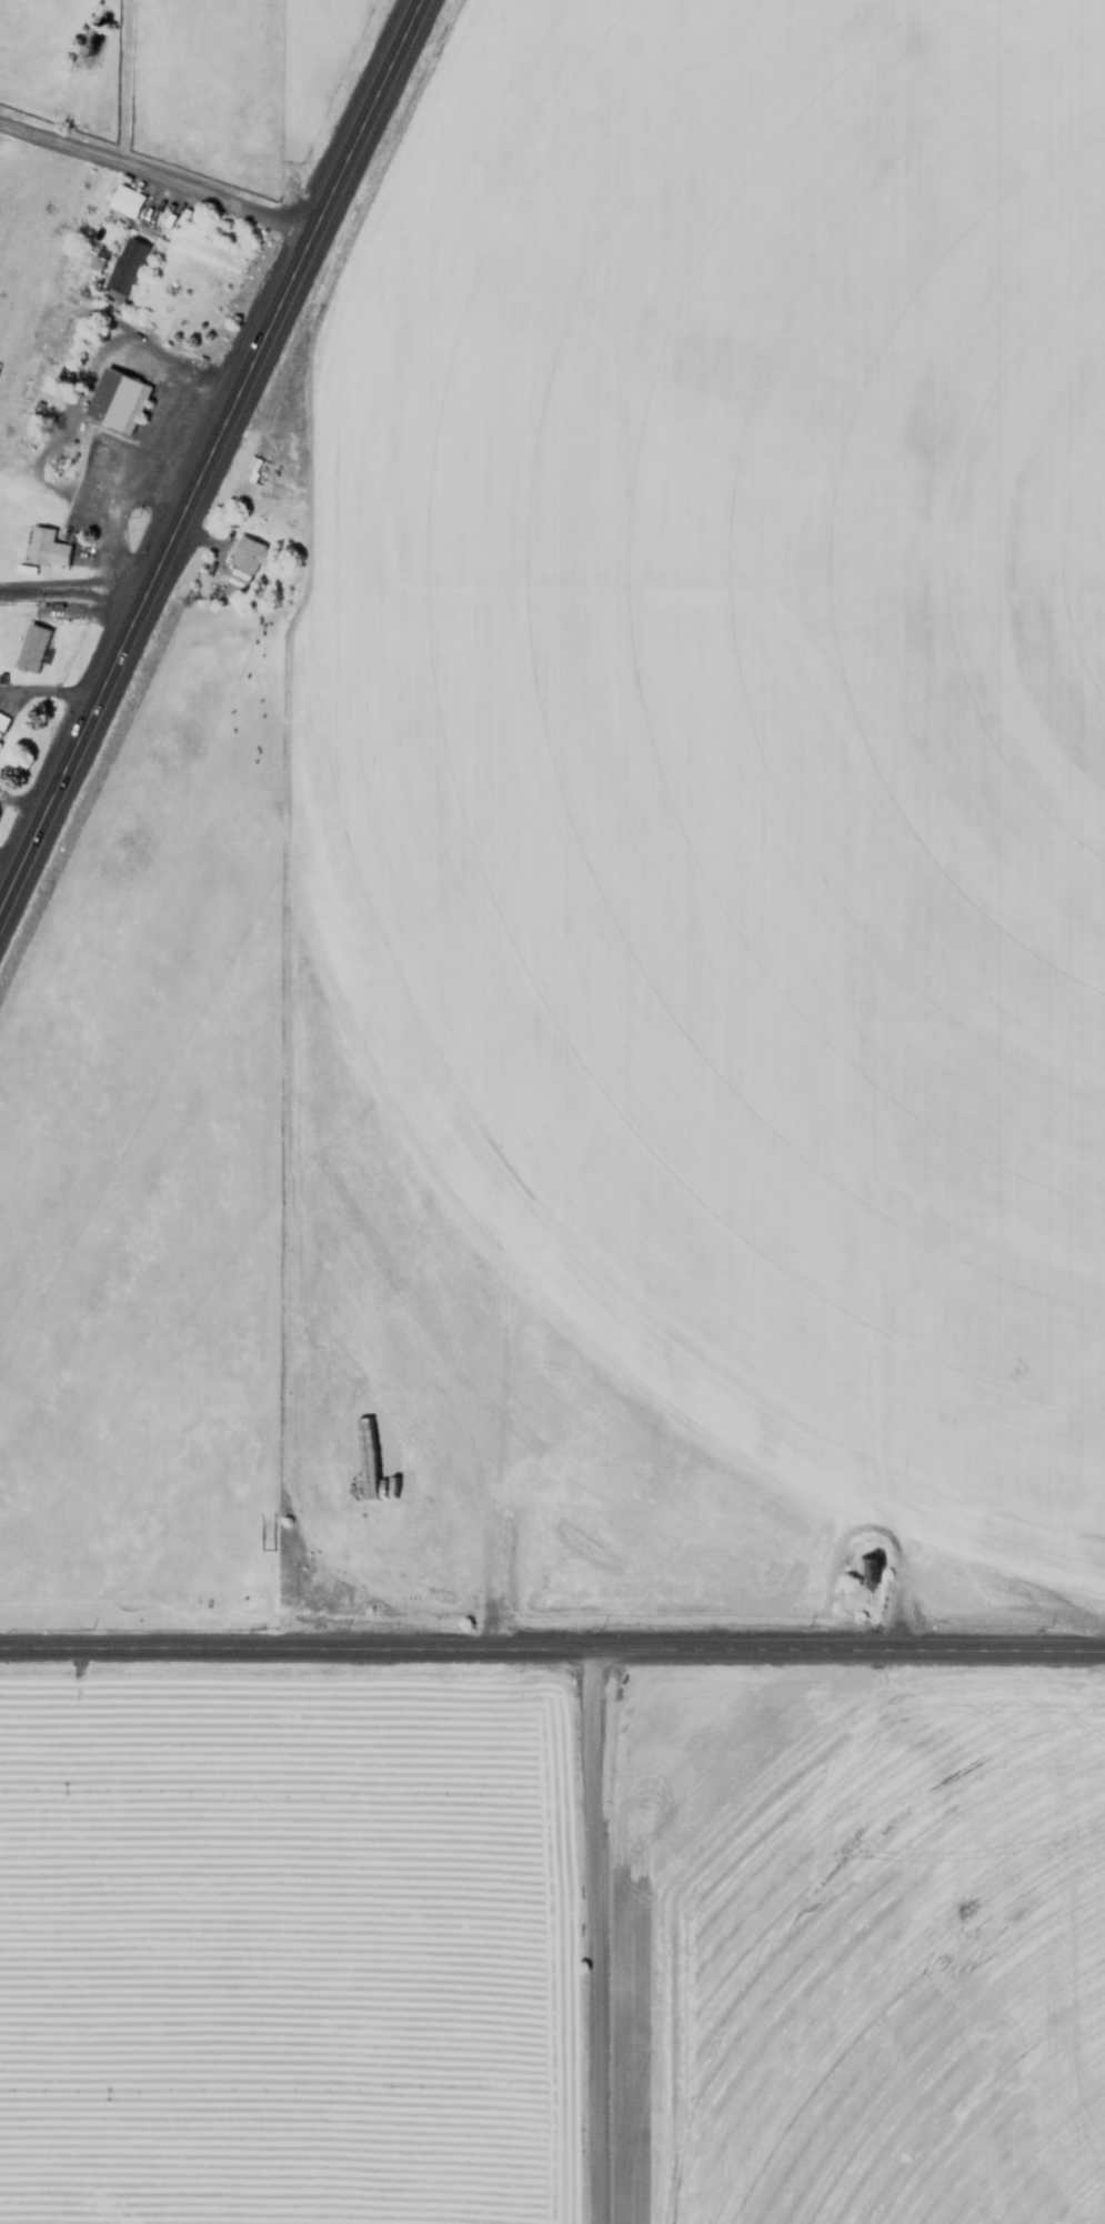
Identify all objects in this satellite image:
road: (123, 86)
road: (155, 178)
building: (125, 199)
building: (124, 267)
road: (154, 351)
building: (115, 400)
road: (208, 451)
building: (250, 468)
building: (46, 548)
building: (244, 562)
road: (73, 580)
road: (69, 595)
building: (31, 647)
crop: (754, 655)
road: (49, 689)
building: (2, 719)
road: (23, 799)
road: (552, 1646)
crop: (552, 1951)

